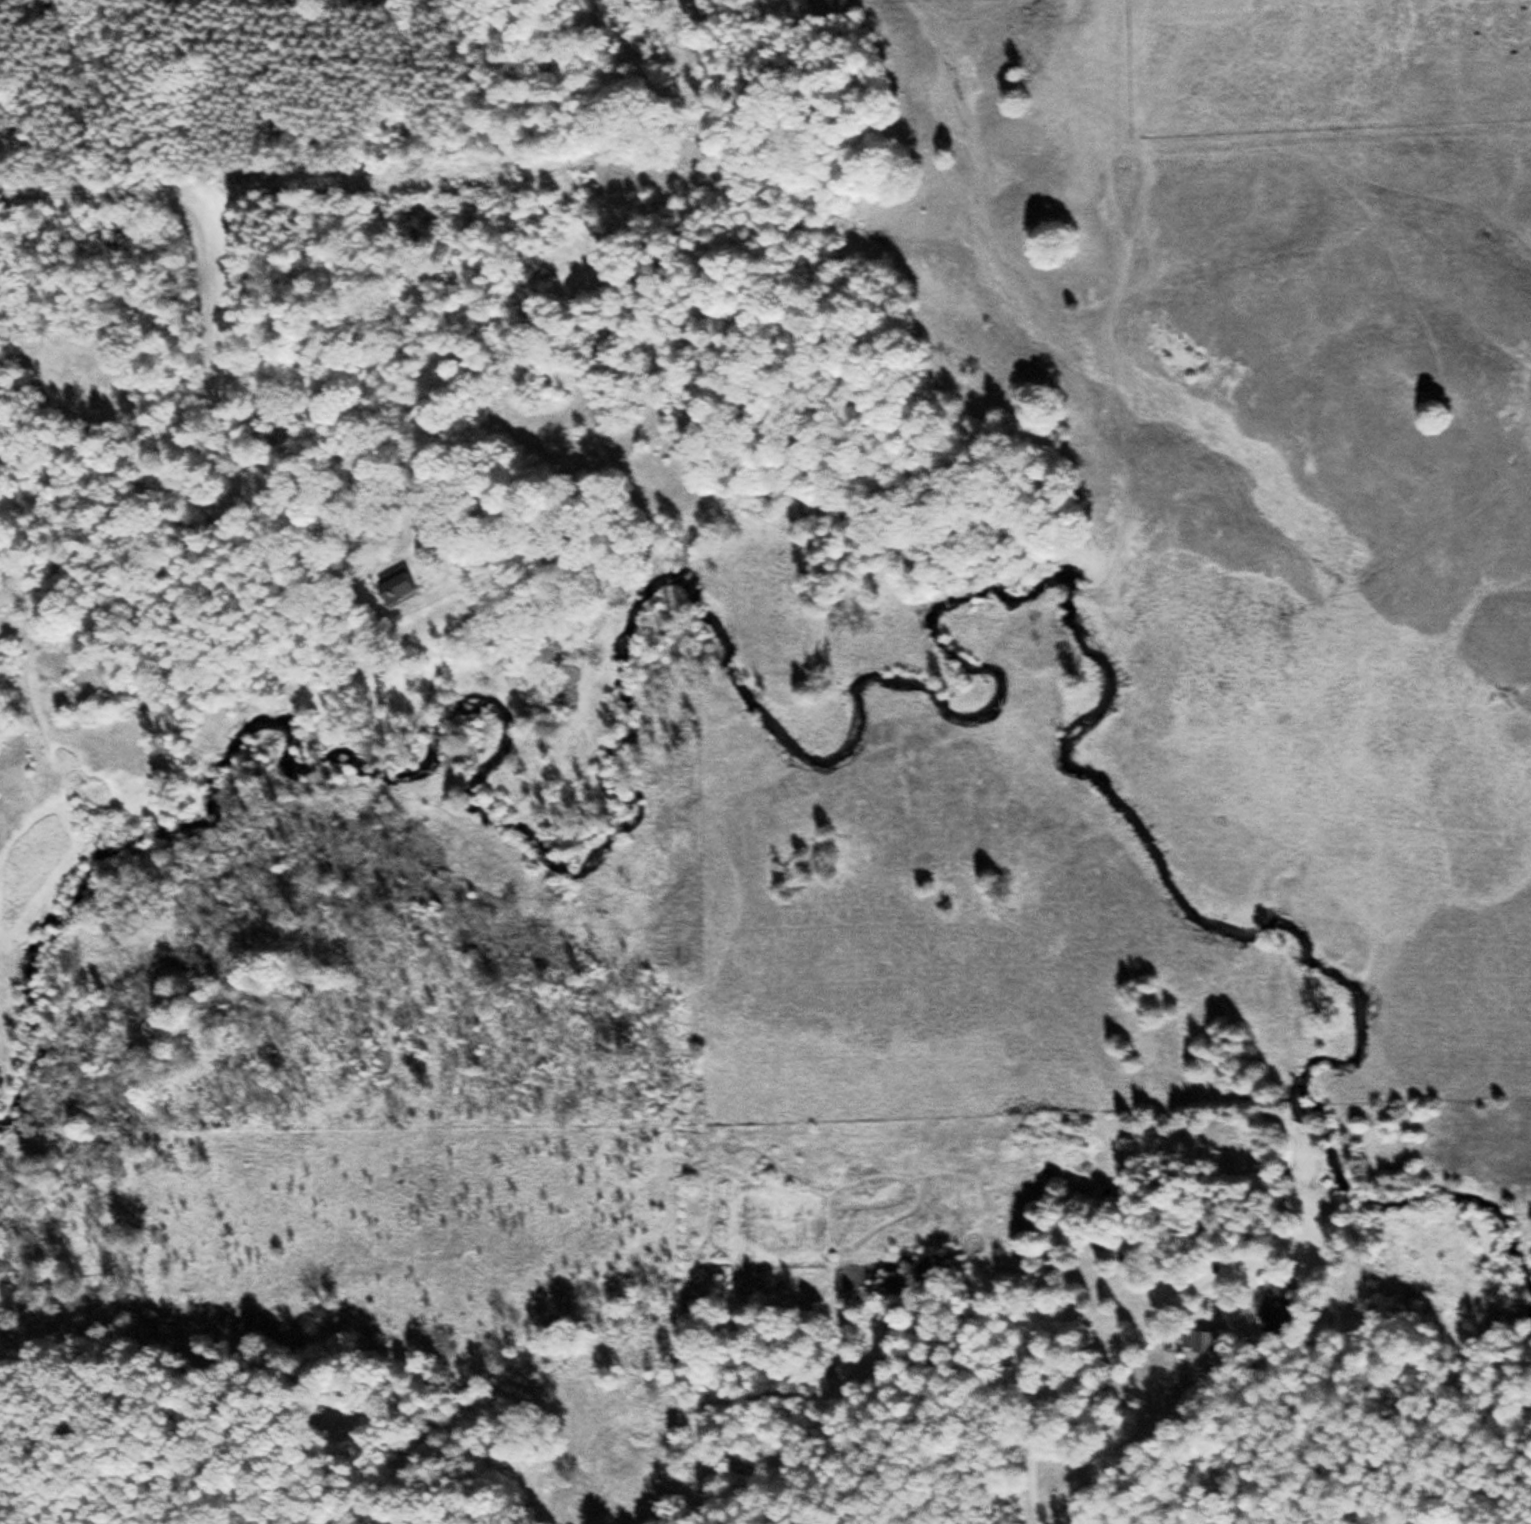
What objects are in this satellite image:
building: (394, 587)
building: (1197, 1340)
road: (1021, 1422)

